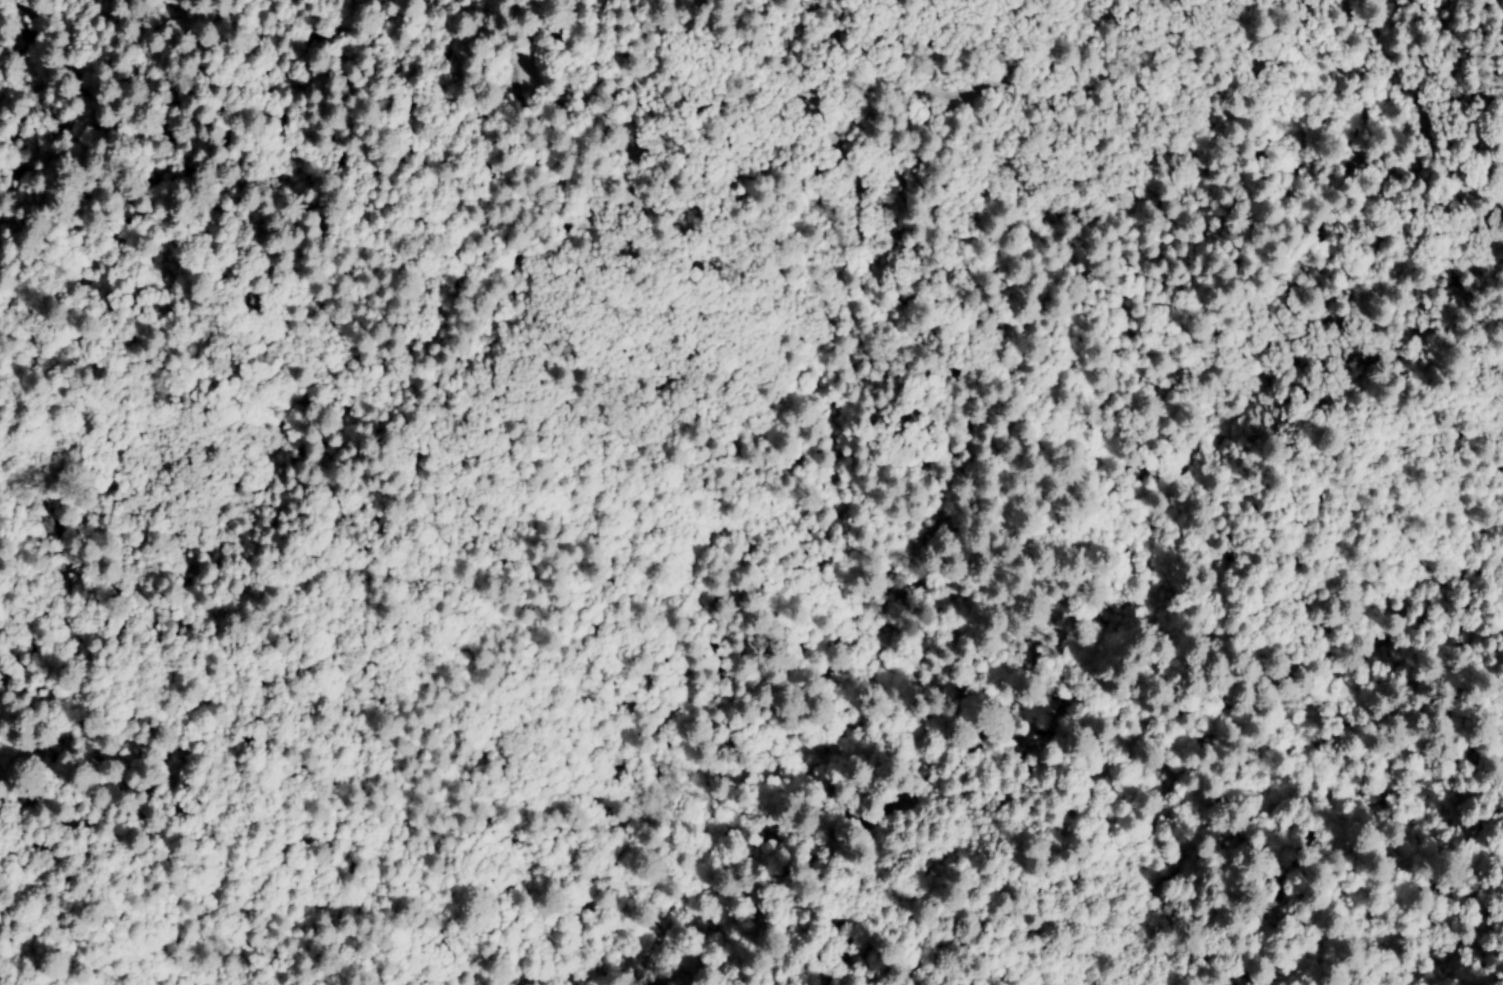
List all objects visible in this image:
road: (1085, 55)

